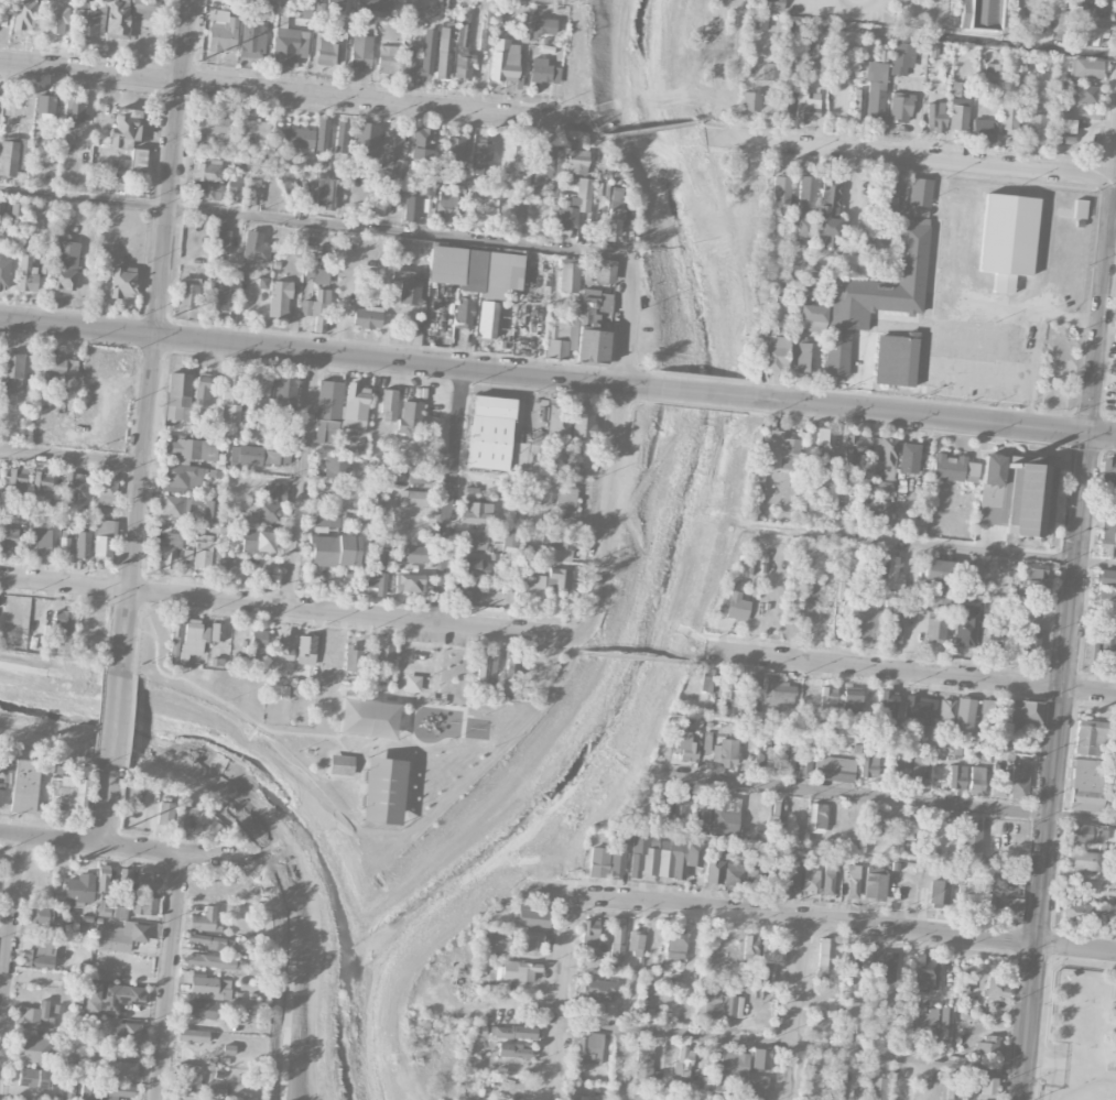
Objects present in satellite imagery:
building: (254, 0)
road: (846, 3)
building: (335, 4)
building: (373, 4)
building: (770, 4)
building: (142, 7)
building: (305, 9)
building: (432, 12)
building: (24, 14)
building: (979, 14)
building: (54, 15)
building: (118, 20)
building: (758, 21)
building: (87, 22)
building: (1062, 24)
building: (543, 26)
building: (223, 32)
building: (1088, 34)
building: (252, 39)
road: (1025, 44)
building: (289, 46)
building: (361, 51)
building: (933, 51)
building: (327, 52)
building: (444, 52)
building: (427, 55)
building: (463, 55)
building: (819, 55)
building: (902, 55)
building: (388, 59)
building: (408, 59)
building: (505, 61)
power tower: (196, 62)
building: (1085, 67)
building: (771, 70)
building: (543, 72)
building: (992, 74)
building: (875, 91)
road: (292, 92)
building: (1080, 94)
building: (750, 100)
building: (44, 104)
building: (806, 105)
building: (783, 107)
building: (899, 107)
building: (856, 109)
building: (75, 110)
building: (957, 113)
building: (935, 116)
building: (1008, 119)
road: (722, 123)
building: (212, 126)
building: (123, 127)
building: (253, 128)
road: (650, 128)
building: (1036, 128)
building: (1064, 129)
building: (984, 130)
building: (322, 134)
road: (588, 134)
building: (340, 137)
building: (366, 139)
building: (296, 141)
building: (421, 143)
building: (453, 148)
building: (392, 154)
building: (511, 154)
building: (13, 155)
building: (481, 155)
building: (138, 159)
road: (912, 159)
building: (557, 162)
building: (576, 162)
building: (119, 164)
building: (542, 164)
building: (208, 171)
building: (462, 176)
building: (430, 179)
building: (99, 182)
building: (600, 184)
building: (234, 187)
building: (584, 188)
building: (252, 189)
building: (474, 189)
building: (539, 189)
building: (781, 189)
building: (207, 192)
building: (920, 192)
building: (327, 194)
building: (888, 194)
building: (806, 195)
building: (446, 206)
building: (411, 208)
building: (1080, 208)
building: (828, 209)
building: (14, 213)
building: (567, 215)
building: (770, 222)
road: (315, 224)
building: (613, 225)
building: (802, 231)
building: (563, 232)
building: (1007, 239)
building: (220, 242)
building: (256, 247)
building: (850, 264)
building: (65, 265)
building: (476, 270)
building: (598, 271)
building: (4, 273)
building: (28, 273)
building: (321, 276)
building: (568, 276)
building: (122, 282)
building: (262, 283)
building: (408, 285)
building: (220, 291)
building: (187, 292)
building: (876, 295)
building: (279, 298)
road: (1104, 307)
building: (316, 309)
building: (464, 313)
power tower: (171, 316)
building: (812, 317)
building: (367, 318)
building: (488, 319)
building: (590, 330)
road: (156, 333)
road: (1029, 334)
building: (560, 336)
road: (324, 352)
building: (774, 353)
building: (806, 358)
building: (896, 359)
road: (939, 361)
building: (11, 368)
building: (58, 368)
building: (202, 390)
building: (258, 391)
building: (284, 393)
road: (698, 393)
building: (177, 395)
building: (231, 396)
building: (328, 400)
building: (389, 405)
building: (355, 406)
building: (410, 416)
road: (932, 417)
building: (557, 418)
building: (583, 421)
building: (325, 431)
building: (500, 438)
road: (617, 442)
building: (854, 445)
building: (823, 446)
building: (193, 448)
building: (789, 448)
building: (887, 451)
building: (259, 455)
road: (72, 458)
building: (908, 458)
building: (335, 466)
building: (955, 467)
building: (575, 469)
building: (1108, 471)
building: (418, 472)
building: (383, 476)
building: (17, 478)
building: (181, 478)
building: (823, 480)
road: (301, 481)
building: (42, 483)
building: (75, 487)
building: (879, 487)
building: (106, 490)
building: (272, 491)
building: (1017, 493)
road: (451, 498)
building: (412, 499)
building: (565, 500)
building: (177, 504)
building: (1109, 504)
building: (210, 511)
building: (264, 511)
building: (878, 511)
building: (477, 513)
building: (325, 521)
building: (1107, 535)
building: (104, 537)
building: (511, 537)
building: (8, 540)
building: (474, 540)
building: (40, 541)
building: (258, 541)
building: (556, 541)
building: (83, 544)
building: (64, 546)
building: (166, 551)
building: (203, 551)
building: (334, 551)
road: (987, 552)
building: (415, 554)
building: (847, 554)
building: (378, 557)
building: (221, 562)
building: (878, 566)
building: (474, 567)
building: (934, 569)
building: (895, 573)
power tower: (144, 574)
building: (969, 574)
building: (1034, 577)
building: (1106, 578)
building: (378, 582)
building: (409, 582)
building: (546, 582)
building: (844, 590)
building: (467, 593)
building: (521, 593)
building: (1105, 598)
building: (933, 600)
building: (733, 606)
building: (1036, 607)
road: (297, 611)
building: (62, 621)
building: (863, 622)
building: (934, 628)
building: (964, 630)
building: (217, 631)
road: (139, 632)
parking lot: (436, 636)
building: (193, 639)
building: (990, 640)
building: (174, 641)
road: (412, 642)
building: (1031, 642)
building: (282, 645)
road: (568, 645)
building: (1091, 645)
building: (258, 646)
building: (1108, 649)
building: (306, 650)
road: (637, 655)
building: (383, 656)
building: (353, 658)
road: (705, 658)
road: (429, 662)
building: (533, 667)
building: (485, 669)
road: (910, 673)
building: (707, 680)
building: (412, 683)
road: (430, 685)
road: (127, 686)
building: (505, 686)
building: (778, 693)
building: (736, 694)
building: (809, 698)
building: (827, 699)
building: (853, 699)
road: (225, 703)
building: (887, 703)
road: (432, 704)
building: (919, 706)
building: (985, 706)
road: (464, 708)
building: (946, 709)
building: (751, 716)
building: (964, 716)
building: (1025, 716)
park: (368, 718)
road: (115, 721)
park: (360, 727)
building: (924, 732)
road: (351, 733)
building: (1090, 737)
building: (706, 742)
building: (1115, 744)
building: (685, 745)
road: (382, 748)
building: (725, 752)
building: (761, 755)
road: (219, 760)
building: (784, 763)
building: (4, 764)
building: (340, 764)
building: (868, 764)
building: (803, 765)
building: (901, 765)
road: (1055, 766)
building: (834, 769)
building: (918, 773)
building: (957, 776)
building: (976, 780)
building: (1019, 783)
building: (28, 784)
building: (999, 785)
building: (1086, 785)
building: (67, 791)
building: (382, 791)
building: (1, 793)
road: (887, 799)
building: (664, 802)
building: (679, 802)
building: (700, 805)
road: (106, 808)
building: (164, 814)
building: (777, 814)
building: (183, 815)
building: (726, 816)
building: (816, 817)
building: (876, 821)
building: (912, 828)
power tower: (119, 831)
building: (1083, 832)
building: (971, 836)
road: (120, 841)
building: (903, 847)
building: (617, 852)
building: (692, 854)
building: (642, 858)
building: (671, 859)
building: (1084, 860)
building: (597, 864)
building: (714, 870)
building: (734, 873)
building: (123, 875)
building: (773, 875)
building: (790, 875)
building: (752, 878)
building: (104, 879)
building: (148, 879)
building: (828, 879)
building: (811, 880)
building: (877, 885)
building: (78, 890)
building: (938, 892)
building: (964, 895)
building: (1008, 903)
building: (984, 904)
building: (144, 906)
building: (111, 910)
building: (1076, 912)
building: (43, 915)
building: (533, 916)
building: (1115, 918)
building: (204, 919)
road: (821, 922)
road: (288, 923)
road: (10, 930)
building: (82, 932)
building: (589, 932)
building: (118, 936)
building: (618, 938)
building: (213, 941)
building: (530, 943)
building: (636, 944)
building: (675, 944)
building: (749, 947)
building: (40, 954)
building: (824, 954)
building: (209, 960)
building: (850, 961)
building: (879, 961)
building: (769, 962)
building: (922, 971)
building: (517, 972)
road: (169, 974)
building: (965, 979)
building: (208, 987)
building: (996, 989)
building: (600, 990)
building: (111, 996)
road: (557, 998)
building: (711, 1003)
building: (730, 1005)
road: (1, 1008)
building: (202, 1009)
building: (833, 1009)
road: (795, 1010)
building: (855, 1013)
building: (34, 1017)
building: (927, 1017)
building: (945, 1022)
building: (511, 1032)
building: (126, 1034)
building: (192, 1035)
road: (790, 1044)
building: (985, 1044)
building: (588, 1047)
building: (228, 1049)
building: (512, 1049)
building: (760, 1058)
building: (643, 1061)
building: (682, 1061)
building: (730, 1066)
road: (510, 1068)
building: (121, 1069)
building: (188, 1077)
building: (35, 1078)
building: (988, 1085)
building: (702, 1087)
building: (757, 1087)
building: (877, 1088)
building: (958, 1088)
building: (105, 1091)
building: (837, 1093)
building: (189, 1098)
building: (590, 1098)
building: (17, 1099)
building: (586, 1099)

